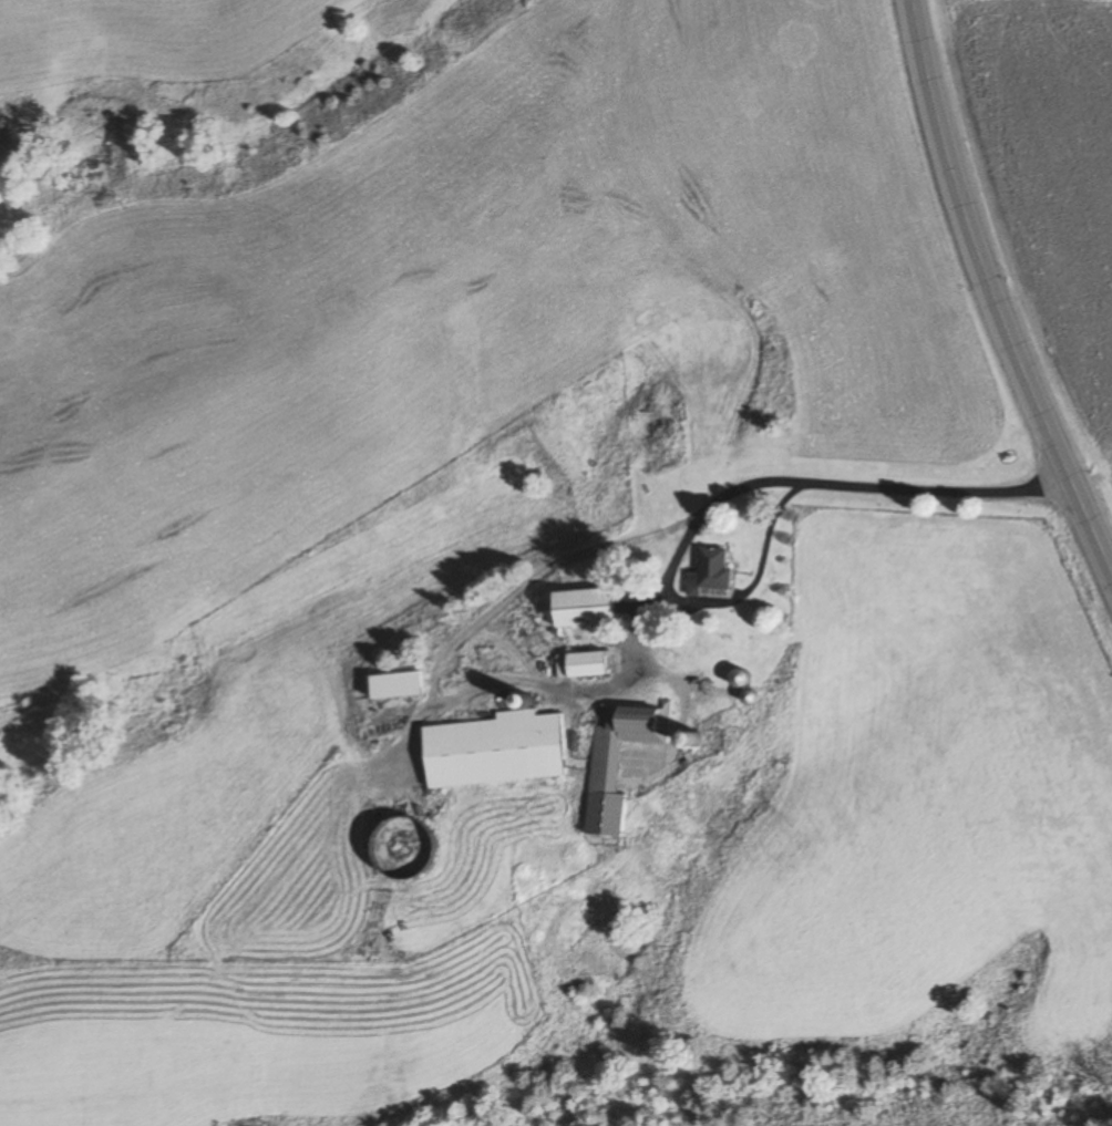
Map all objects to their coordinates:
road: (998, 292)
road: (832, 483)
building: (709, 575)
building: (584, 608)
building: (580, 665)
building: (739, 679)
building: (394, 685)
building: (494, 747)
building: (618, 760)
building: (400, 849)

